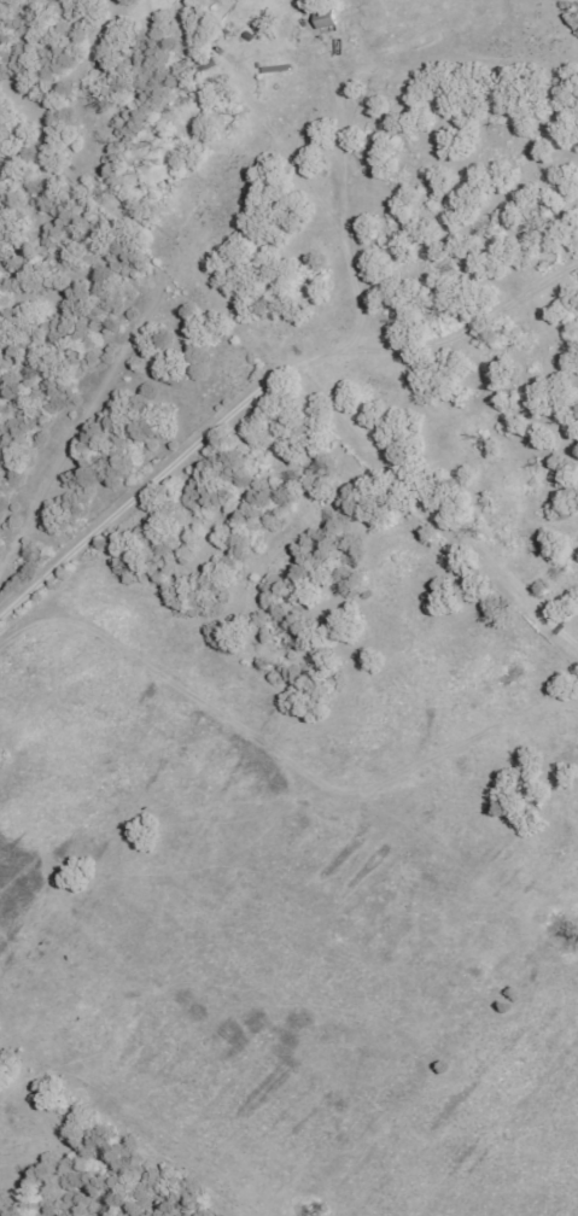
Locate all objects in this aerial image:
road: (72, 250)
road: (261, 382)
road: (436, 507)
road: (107, 1019)
road: (339, 1046)

